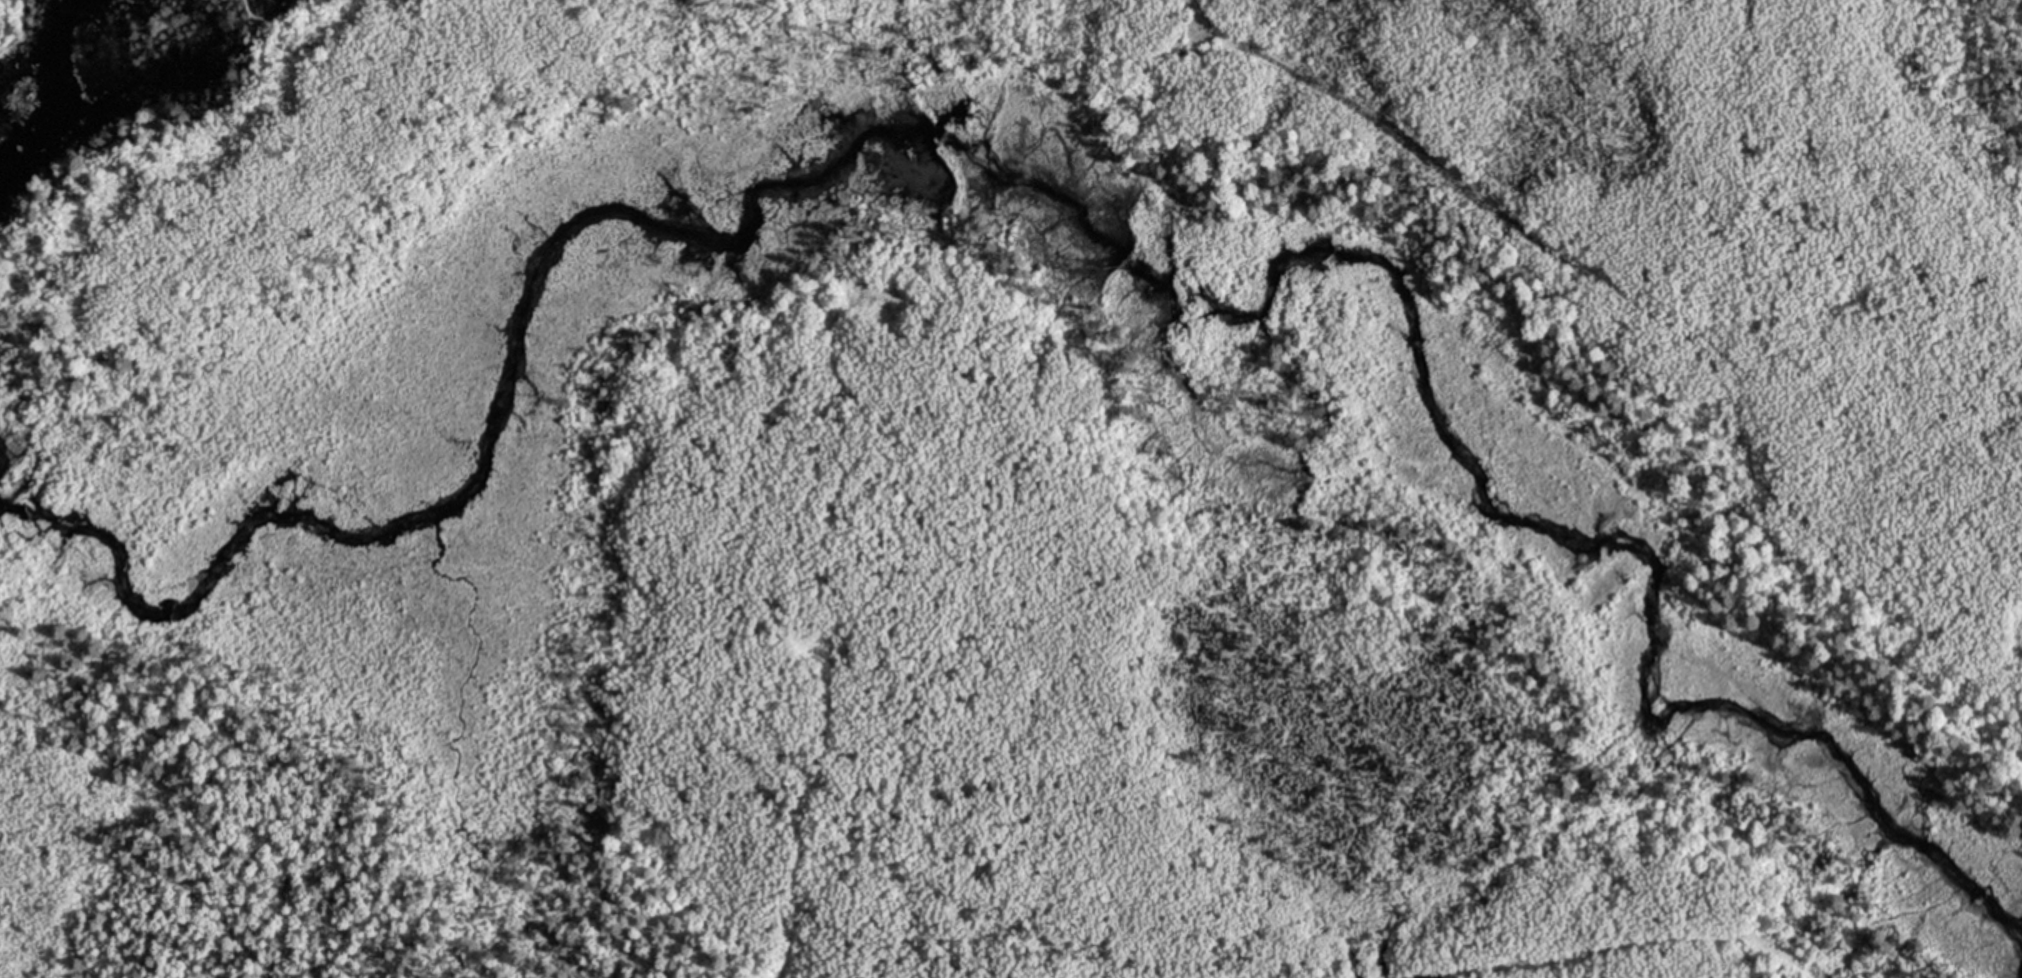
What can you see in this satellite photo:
road: (13, 22)
road: (1351, 107)
river: (1408, 309)
river: (544, 320)
river: (1789, 726)
road: (799, 813)
road: (1616, 949)

